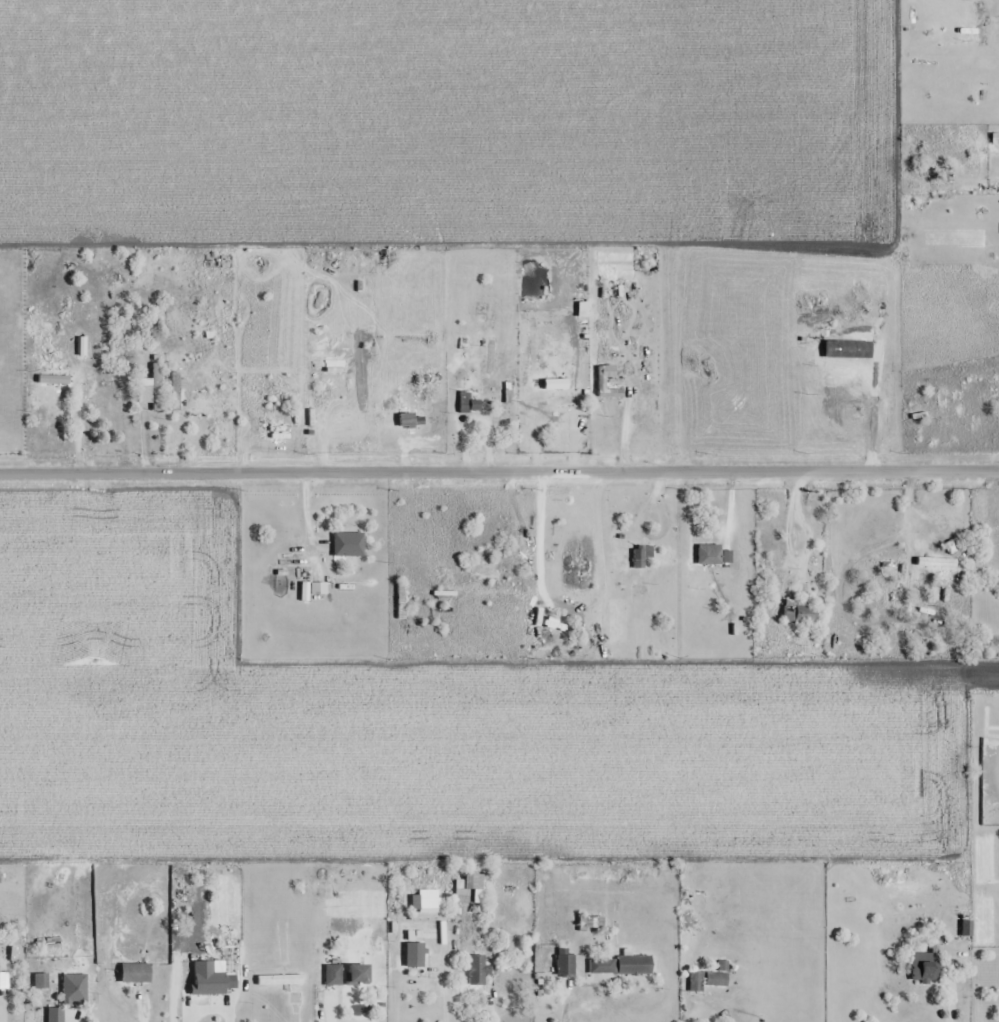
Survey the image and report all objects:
building: (982, 24)
building: (490, 354)
building: (53, 379)
building: (551, 384)
building: (151, 388)
building: (176, 391)
building: (468, 403)
building: (407, 417)
road: (499, 472)
building: (348, 545)
building: (709, 554)
building: (640, 556)
building: (801, 610)
building: (470, 888)
building: (965, 943)
building: (565, 965)
building: (634, 965)
building: (602, 966)
building: (925, 967)
building: (476, 971)
building: (135, 973)
building: (333, 975)
building: (358, 975)
building: (279, 981)
building: (706, 981)
building: (215, 982)
building: (75, 991)
building: (55, 1015)

